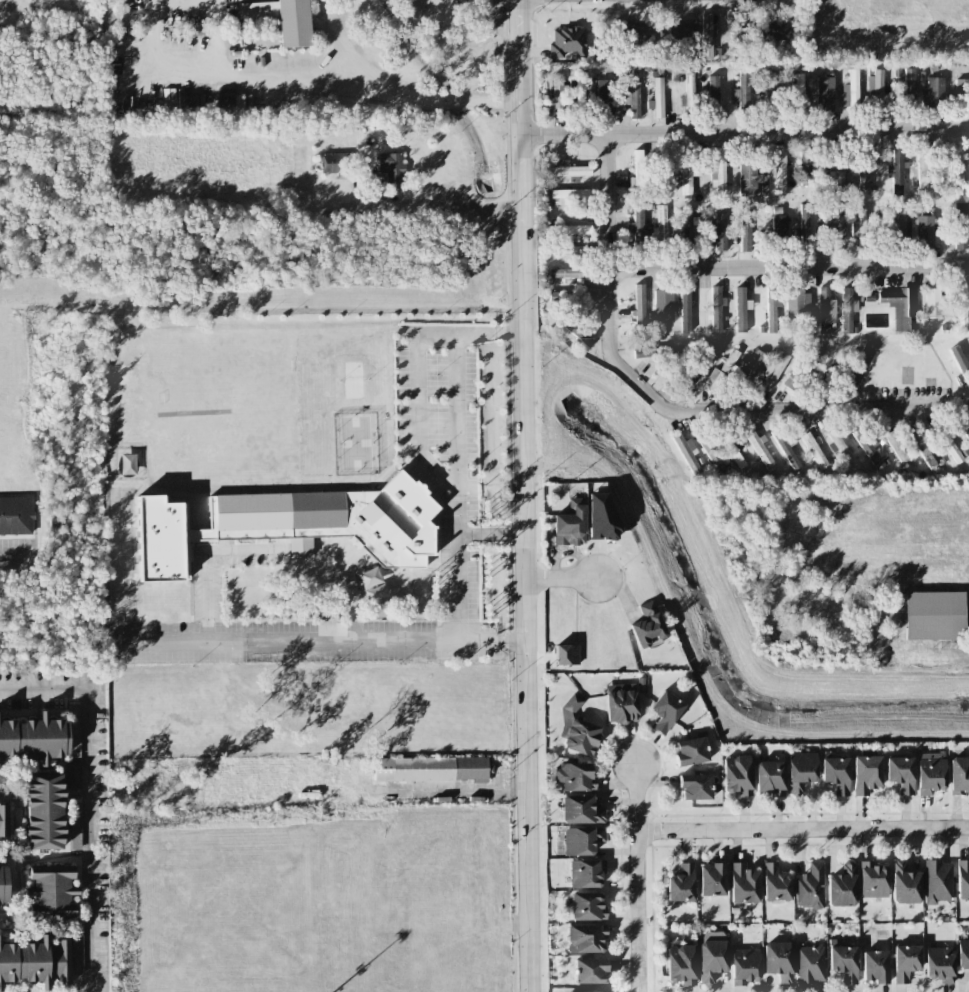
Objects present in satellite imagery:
building: (251, 0)
building: (282, 18)
building: (680, 29)
building: (771, 30)
building: (636, 33)
building: (706, 35)
road: (336, 39)
building: (567, 41)
road: (163, 65)
building: (909, 82)
building: (875, 84)
building: (961, 84)
road: (375, 85)
building: (799, 85)
building: (743, 87)
building: (579, 88)
building: (712, 88)
building: (934, 88)
building: (850, 89)
building: (557, 93)
building: (618, 93)
building: (824, 93)
building: (658, 96)
road: (743, 115)
building: (337, 162)
building: (392, 166)
building: (807, 166)
building: (957, 166)
building: (922, 168)
building: (566, 169)
building: (897, 169)
building: (779, 170)
building: (638, 171)
building: (718, 173)
building: (688, 177)
building: (748, 177)
building: (835, 178)
building: (863, 180)
road: (610, 184)
building: (569, 193)
road: (403, 206)
building: (961, 211)
building: (804, 218)
building: (892, 220)
building: (635, 222)
building: (659, 223)
building: (687, 223)
building: (859, 223)
building: (779, 225)
building: (836, 225)
building: (719, 227)
building: (744, 227)
building: (567, 228)
building: (921, 230)
building: (960, 236)
building: (572, 252)
building: (567, 273)
building: (571, 295)
building: (797, 300)
building: (932, 301)
building: (663, 304)
building: (639, 305)
building: (962, 305)
building: (901, 306)
building: (716, 307)
building: (740, 308)
building: (825, 308)
building: (848, 308)
building: (685, 309)
building: (772, 309)
road: (613, 312)
building: (577, 331)
building: (644, 351)
building: (961, 361)
building: (751, 365)
building: (805, 367)
building: (772, 369)
road: (421, 387)
road: (538, 431)
building: (967, 435)
building: (841, 442)
building: (897, 442)
building: (951, 447)
building: (785, 448)
building: (814, 449)
building: (732, 450)
building: (760, 450)
building: (871, 450)
building: (686, 451)
building: (711, 452)
building: (925, 452)
road: (523, 495)
building: (15, 514)
building: (601, 515)
building: (293, 522)
building: (570, 523)
building: (300, 546)
road: (460, 552)
road: (11, 555)
road: (211, 561)
road: (562, 580)
road: (349, 582)
building: (934, 614)
building: (647, 624)
road: (252, 639)
building: (566, 653)
building: (621, 702)
building: (665, 710)
building: (576, 729)
building: (33, 737)
building: (690, 750)
building: (431, 768)
building: (800, 769)
building: (73, 773)
building: (835, 773)
building: (865, 773)
building: (899, 773)
building: (737, 774)
building: (959, 774)
building: (930, 775)
building: (572, 776)
building: (769, 776)
building: (695, 785)
road: (87, 801)
building: (580, 808)
building: (43, 810)
building: (3, 819)
building: (75, 822)
road: (805, 827)
building: (582, 839)
building: (585, 872)
building: (963, 877)
building: (712, 878)
building: (872, 879)
road: (641, 880)
building: (938, 880)
building: (743, 882)
building: (775, 882)
building: (681, 883)
building: (904, 883)
building: (3, 884)
building: (810, 885)
building: (842, 885)
building: (50, 892)
building: (586, 905)
building: (584, 937)
building: (78, 944)
building: (963, 953)
building: (711, 958)
building: (778, 959)
building: (842, 960)
building: (905, 960)
building: (36, 961)
building: (681, 963)
building: (809, 963)
building: (939, 963)
building: (744, 965)
building: (875, 965)
building: (589, 969)
building: (588, 990)

